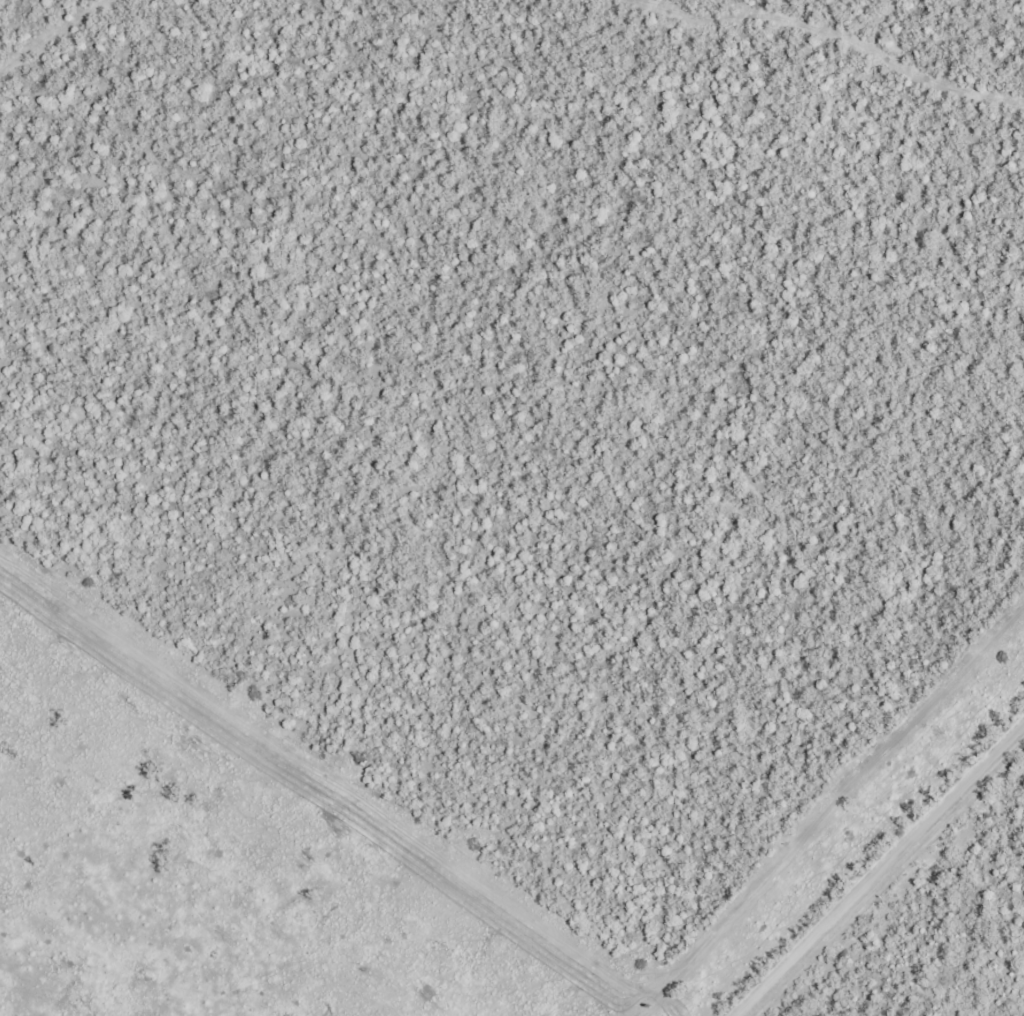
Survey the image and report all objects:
road: (888, 881)

